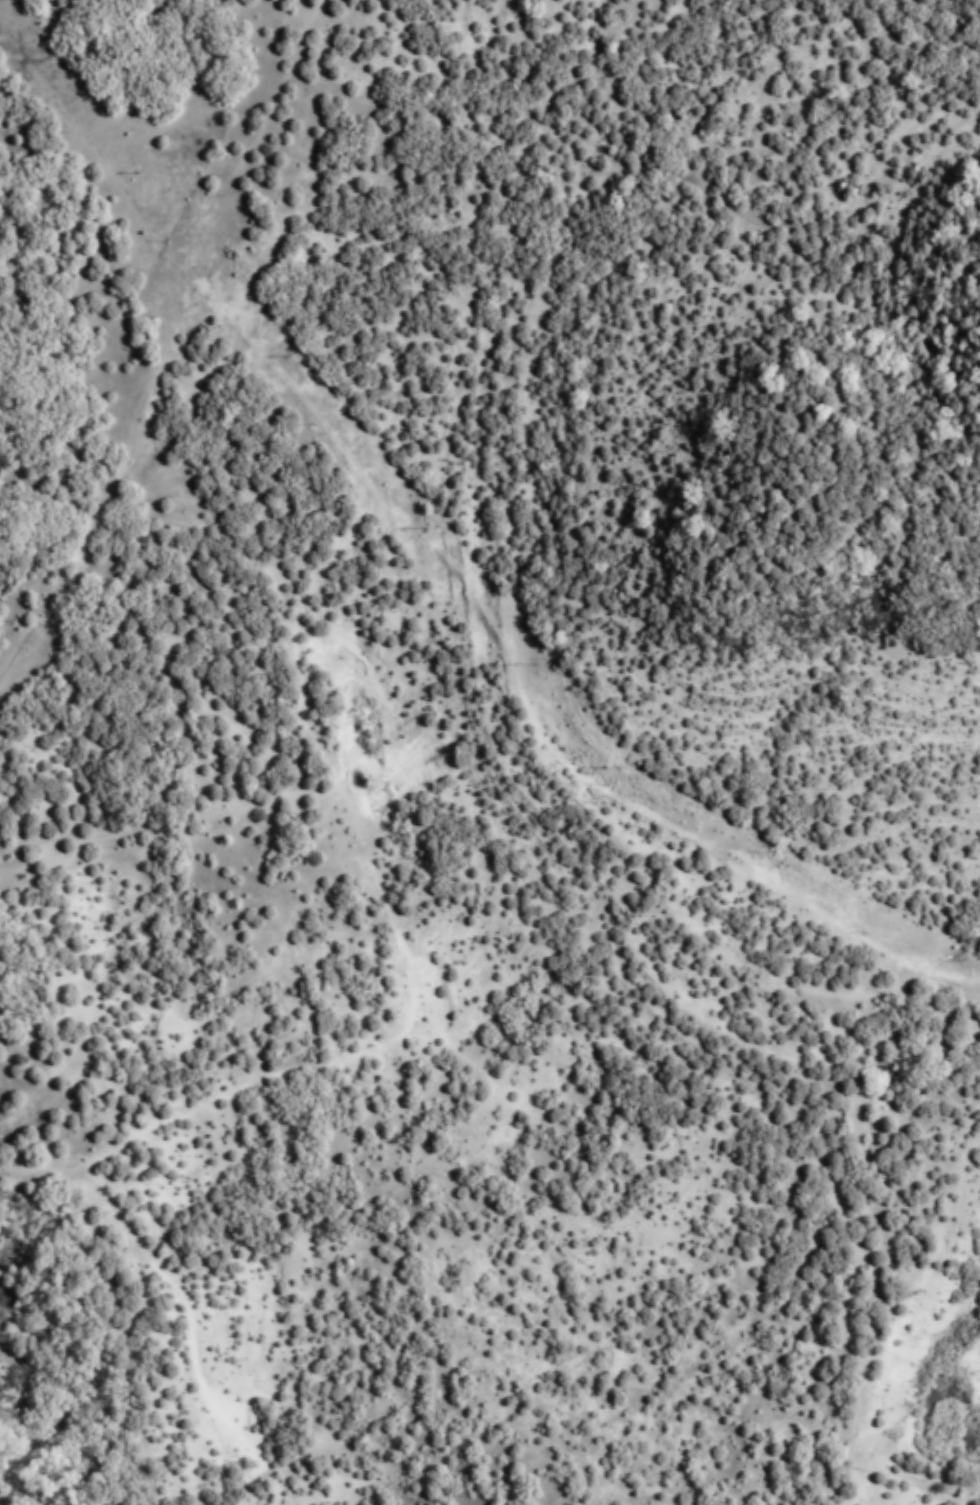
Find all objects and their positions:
road: (178, 1300)
river: (46, 1461)

